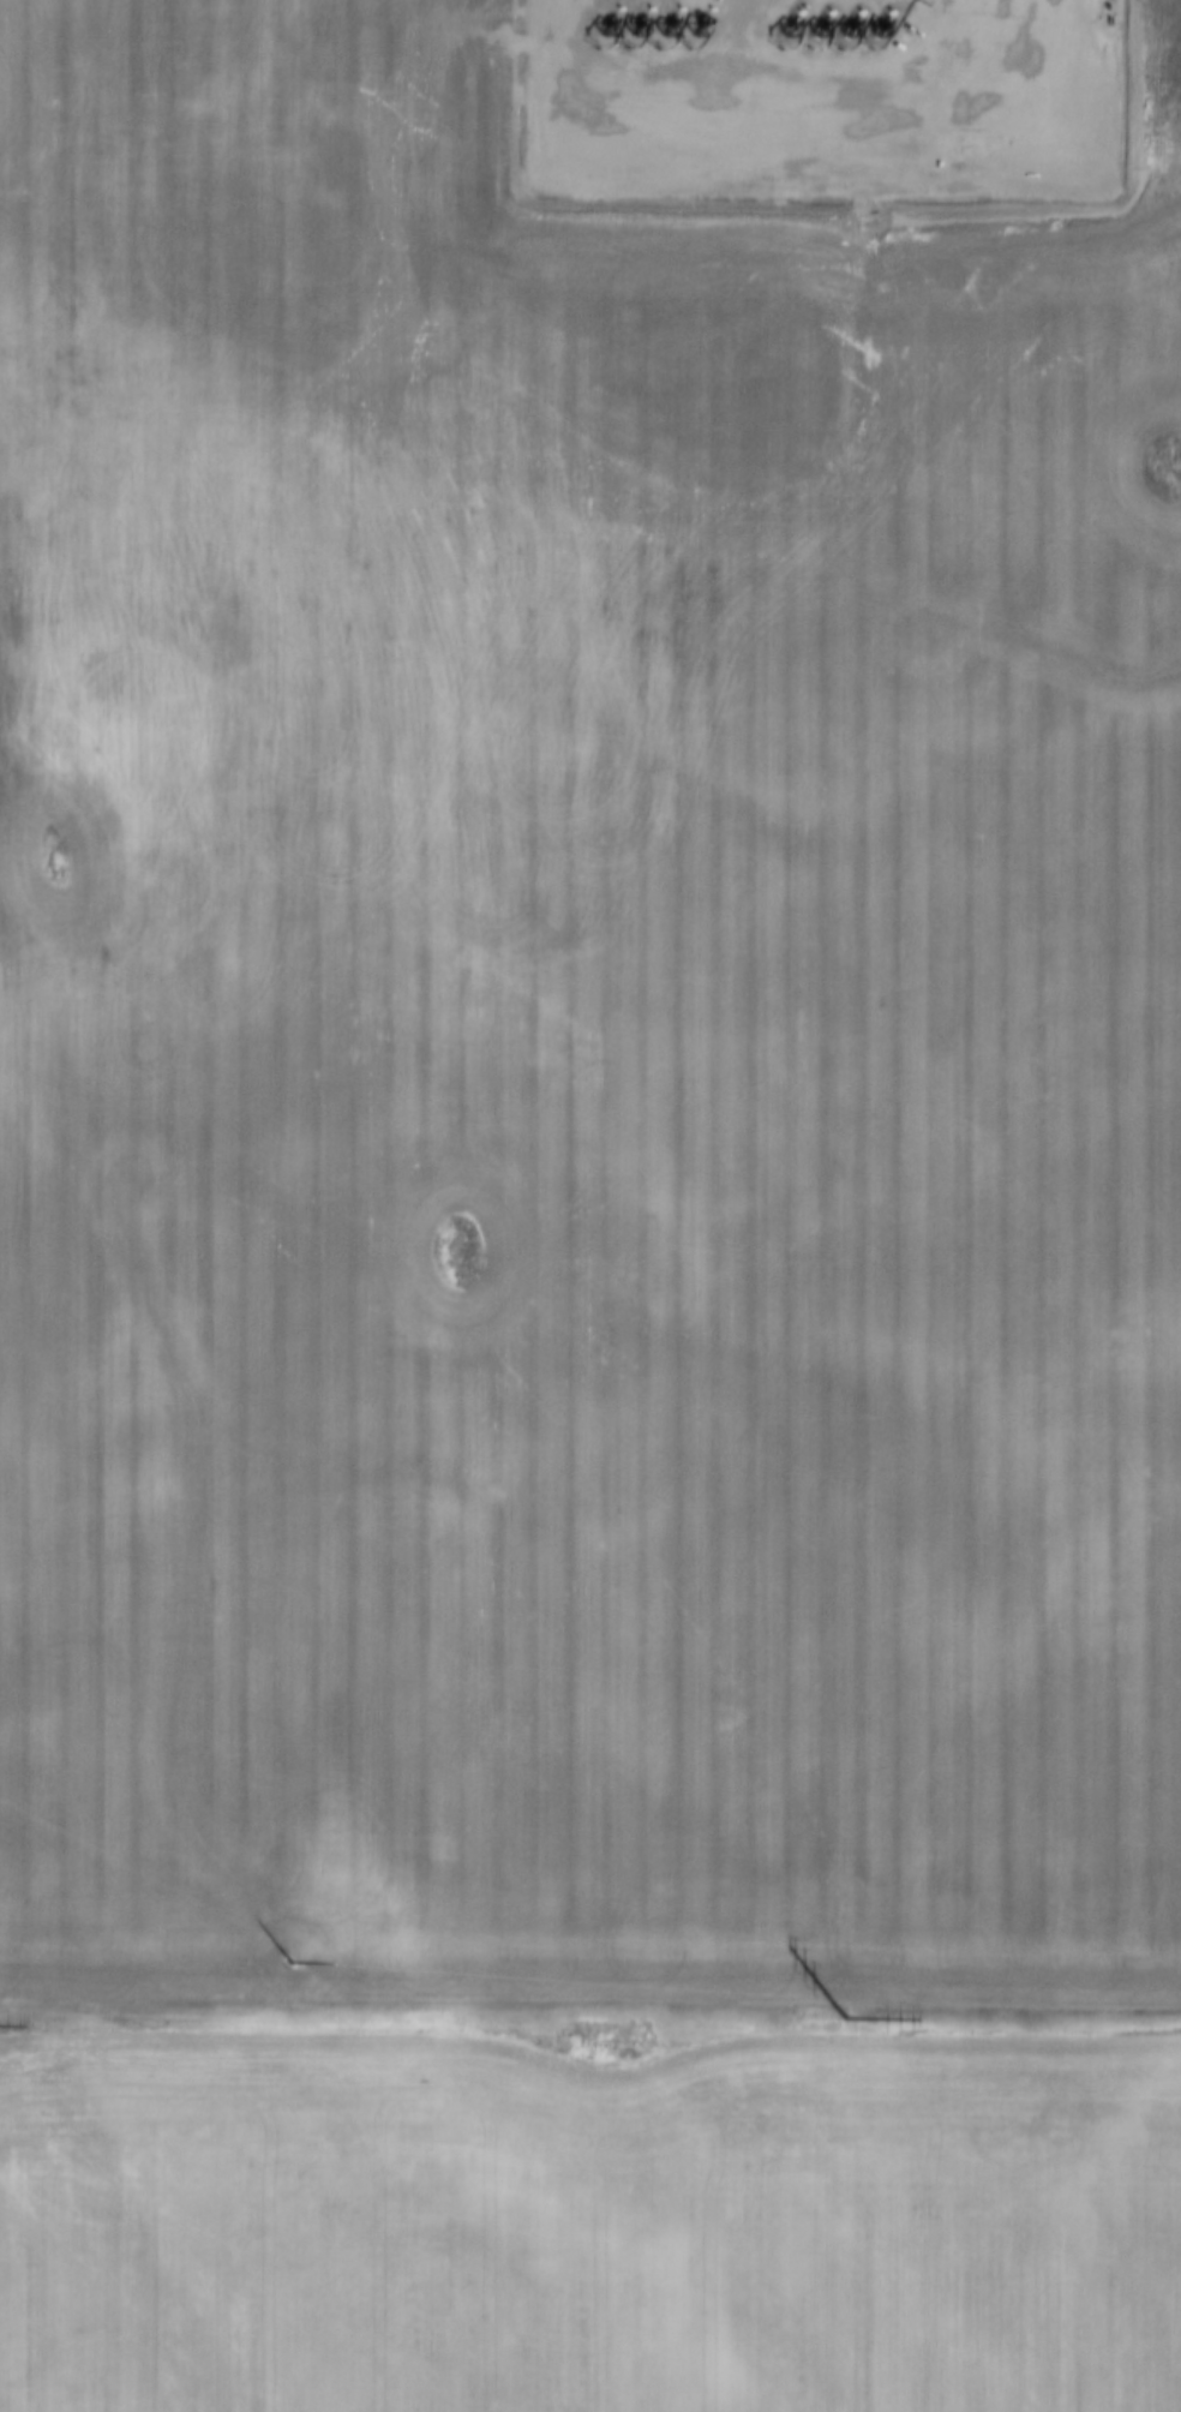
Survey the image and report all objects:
power tower: (840, 2016)

